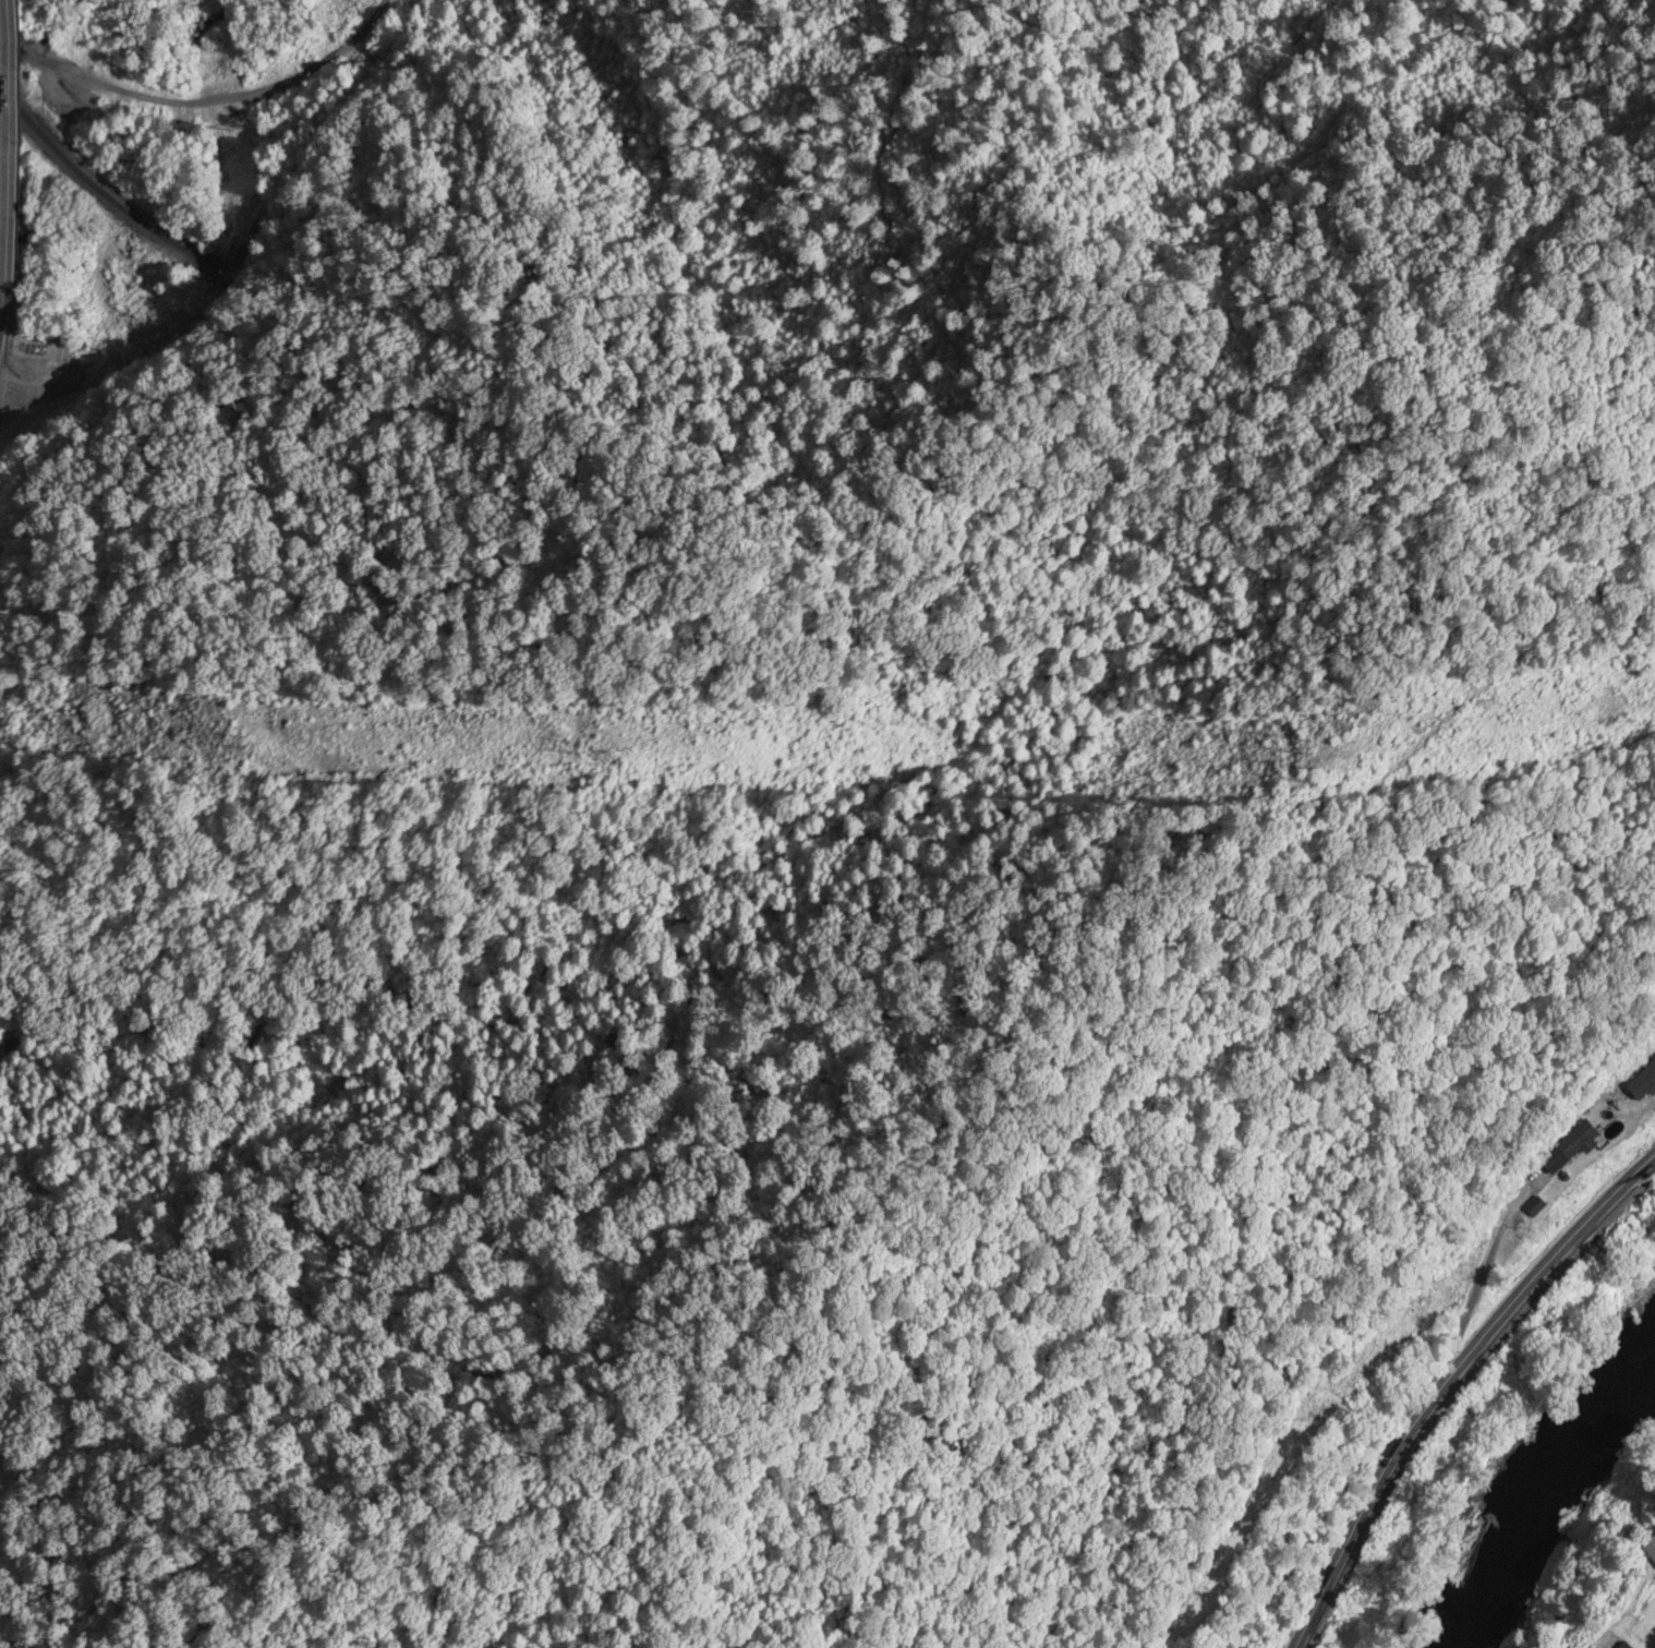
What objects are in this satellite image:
road: (246, 103)
road: (21, 154)
railway: (97, 189)
road: (1, 318)
road: (34, 394)
power tower: (252, 748)
power tower: (591, 750)
power tower: (1320, 766)
building: (1582, 1143)
building: (1544, 1210)
road: (1450, 1381)
river: (1553, 1507)
building: (1651, 1549)
building: (1627, 1646)

